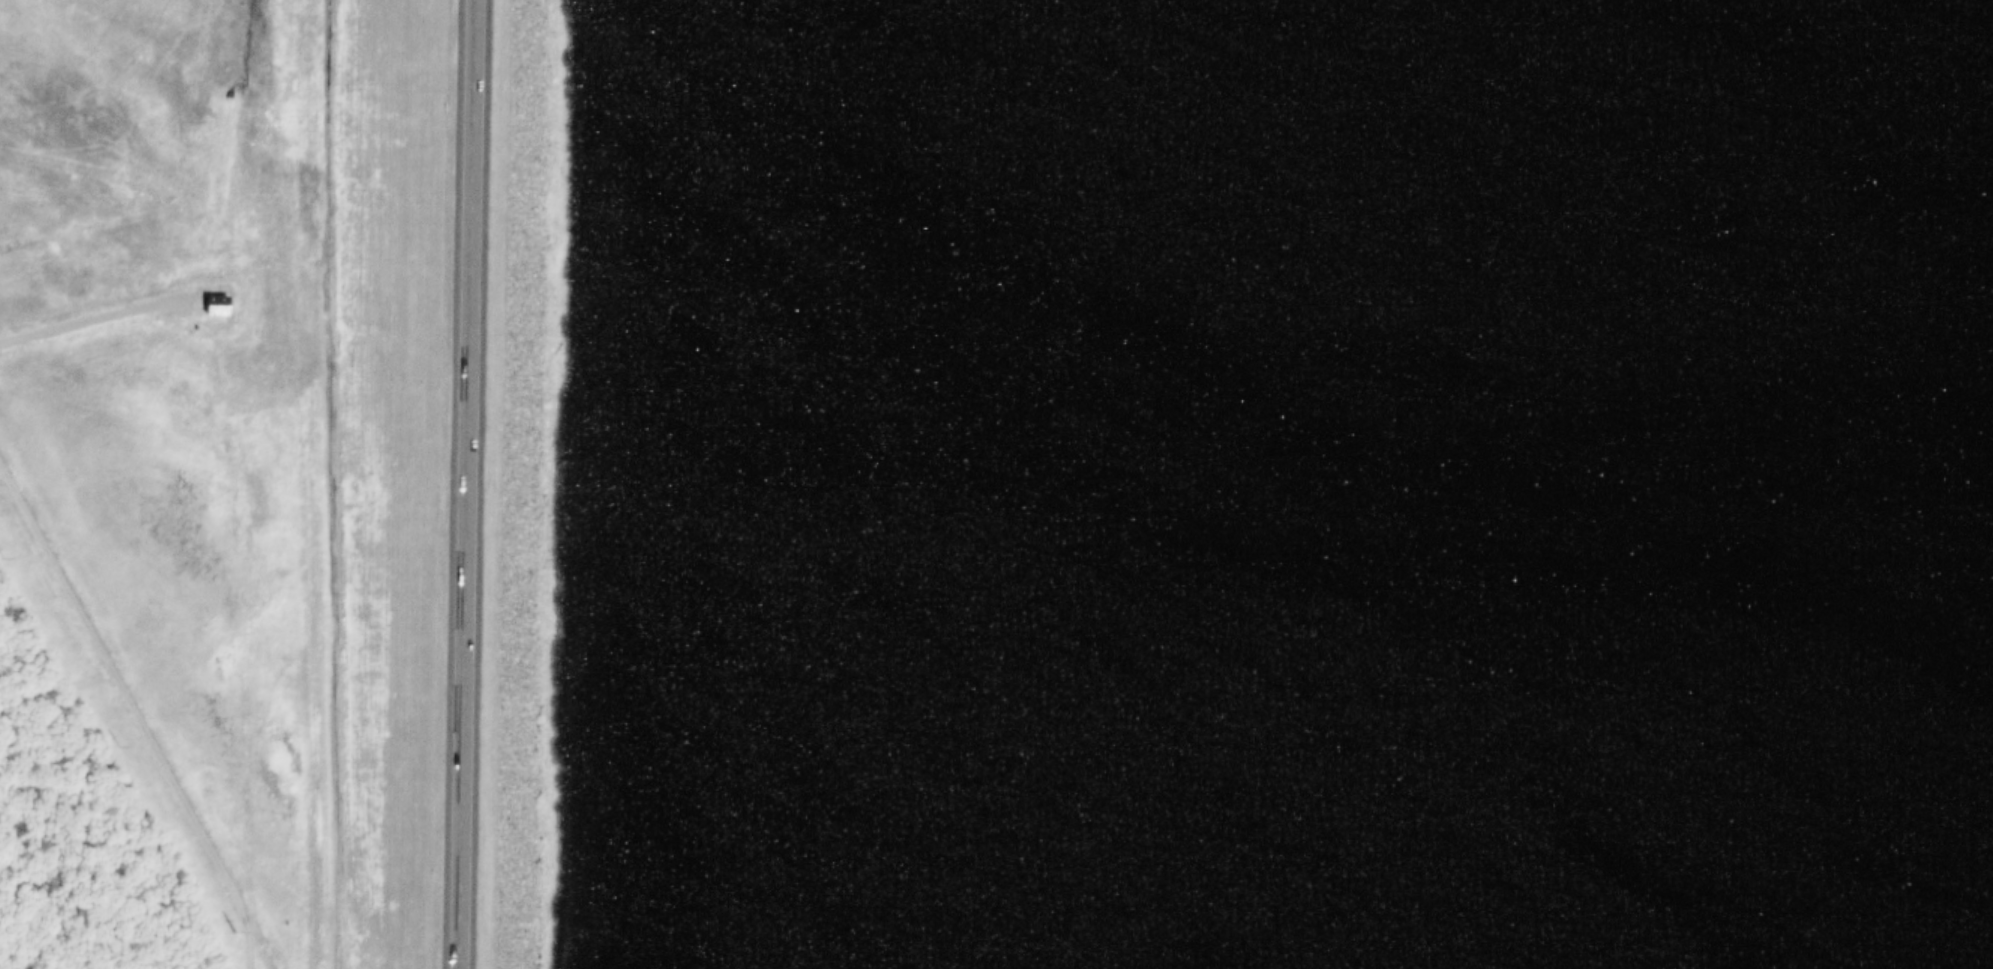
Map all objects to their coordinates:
building: (203, 303)
road: (88, 319)
road: (532, 484)
road: (126, 680)

